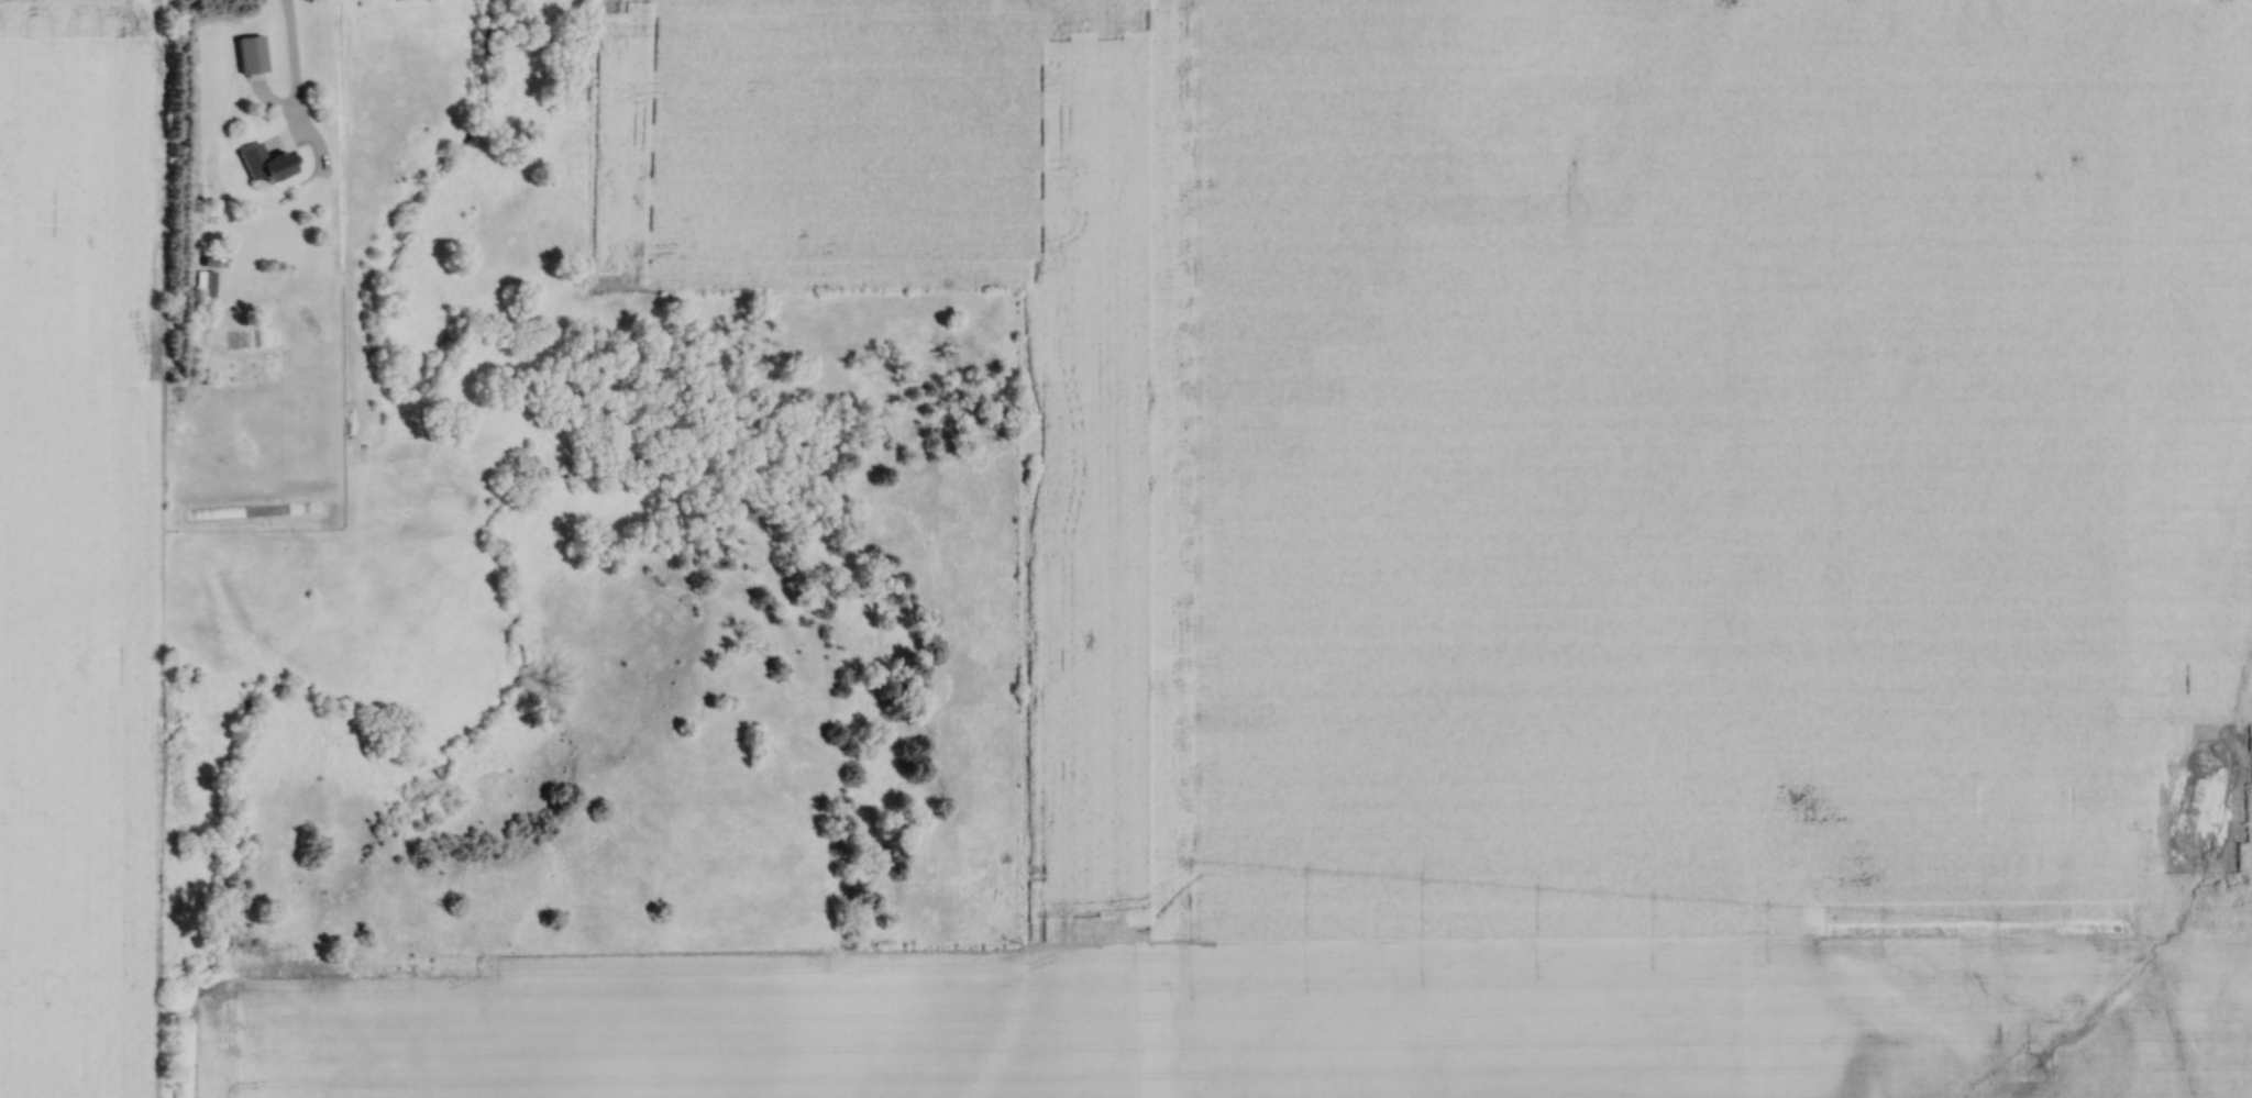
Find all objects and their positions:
building: (254, 55)
road: (292, 79)
building: (269, 165)
building: (208, 282)

